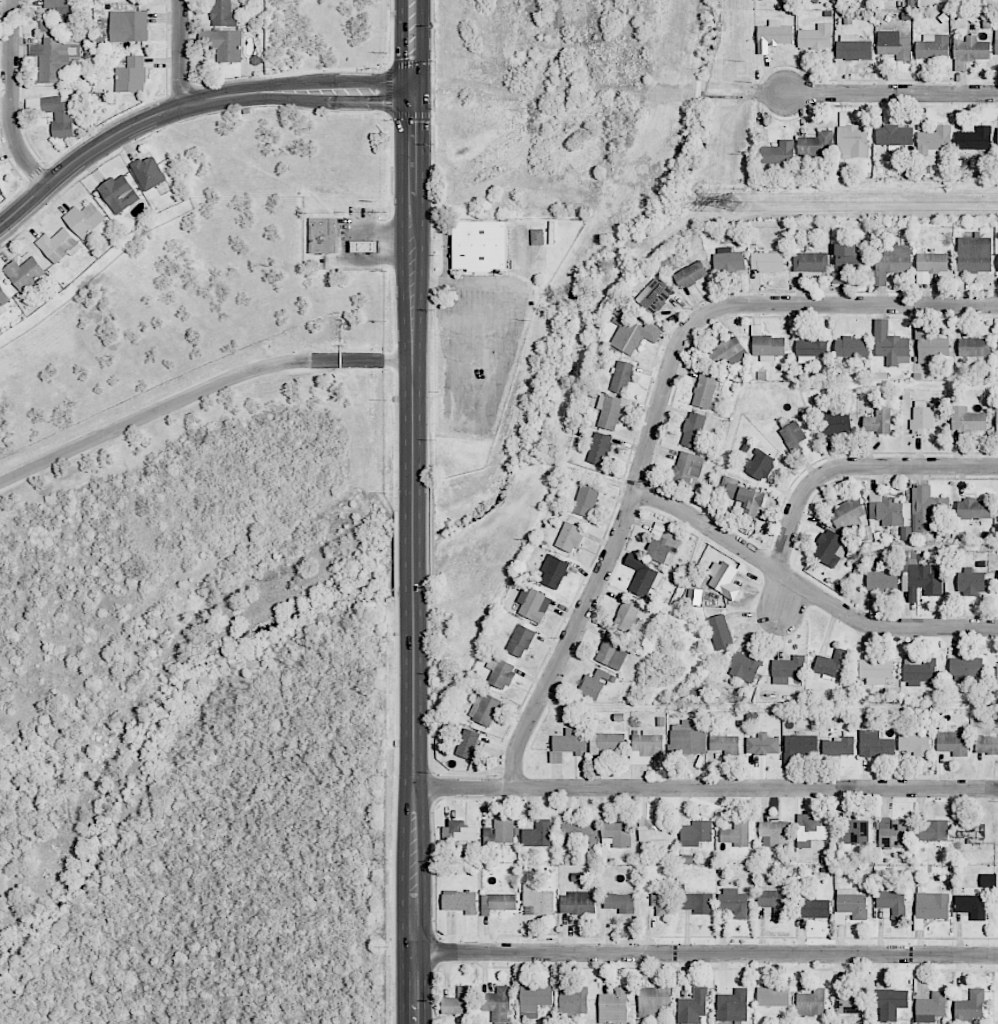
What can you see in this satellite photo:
building: (817, 0)
building: (224, 13)
building: (57, 16)
building: (128, 26)
building: (773, 35)
building: (815, 37)
building: (996, 41)
building: (223, 44)
road: (410, 45)
building: (895, 47)
building: (932, 47)
building: (853, 48)
building: (969, 51)
road: (181, 54)
building: (53, 58)
building: (131, 75)
traffic signals: (410, 90)
road: (889, 93)
road: (11, 99)
road: (186, 106)
building: (54, 113)
building: (997, 136)
building: (974, 139)
building: (852, 141)
building: (934, 141)
building: (817, 144)
building: (778, 153)
building: (148, 173)
road: (410, 184)
building: (1, 192)
building: (119, 193)
power tower: (734, 203)
building: (84, 219)
building: (323, 235)
building: (537, 236)
building: (58, 245)
building: (479, 245)
building: (974, 254)
building: (849, 257)
building: (728, 260)
building: (767, 261)
building: (810, 261)
building: (892, 262)
building: (930, 265)
building: (25, 274)
building: (691, 274)
building: (654, 296)
building: (4, 298)
road: (844, 305)
building: (633, 336)
building: (766, 343)
building: (890, 345)
building: (930, 345)
building: (811, 347)
building: (851, 347)
building: (974, 347)
building: (728, 352)
road: (507, 365)
building: (621, 377)
road: (198, 390)
building: (705, 390)
building: (610, 411)
building: (921, 417)
building: (968, 419)
building: (997, 420)
building: (878, 421)
building: (835, 422)
building: (693, 429)
building: (792, 436)
building: (599, 448)
building: (760, 464)
road: (855, 466)
building: (687, 469)
building: (744, 497)
building: (585, 500)
building: (926, 509)
building: (973, 509)
building: (848, 515)
building: (569, 537)
building: (662, 546)
building: (827, 546)
road: (608, 557)
building: (553, 571)
building: (723, 579)
building: (643, 580)
building: (881, 580)
building: (971, 582)
road: (806, 589)
building: (533, 604)
building: (626, 614)
building: (719, 632)
building: (520, 640)
road: (413, 651)
building: (613, 651)
building: (831, 664)
building: (745, 666)
building: (965, 668)
building: (788, 669)
building: (875, 671)
building: (918, 671)
building: (500, 672)
building: (997, 674)
building: (593, 684)
building: (484, 709)
building: (687, 738)
building: (606, 742)
building: (952, 742)
building: (569, 743)
building: (913, 743)
building: (725, 744)
building: (762, 744)
building: (875, 744)
building: (986, 744)
building: (468, 745)
building: (800, 746)
building: (838, 746)
building: (645, 747)
road: (705, 789)
building: (932, 830)
building: (459, 831)
building: (500, 831)
building: (655, 831)
building: (811, 831)
building: (853, 832)
building: (892, 832)
building: (970, 832)
building: (695, 833)
building: (736, 833)
building: (774, 833)
building: (538, 834)
building: (579, 834)
building: (617, 834)
building: (988, 880)
building: (537, 900)
building: (892, 901)
building: (459, 902)
building: (497, 902)
building: (577, 902)
building: (620, 902)
building: (661, 902)
building: (734, 902)
building: (774, 902)
building: (698, 903)
building: (932, 905)
building: (971, 906)
building: (812, 907)
road: (704, 953)
building: (773, 996)
building: (534, 999)
building: (573, 1001)
building: (653, 1001)
building: (457, 1002)
building: (811, 1003)
building: (851, 1003)
building: (890, 1003)
building: (496, 1004)
building: (613, 1006)
building: (693, 1006)
building: (732, 1006)
building: (930, 1007)
building: (970, 1007)

